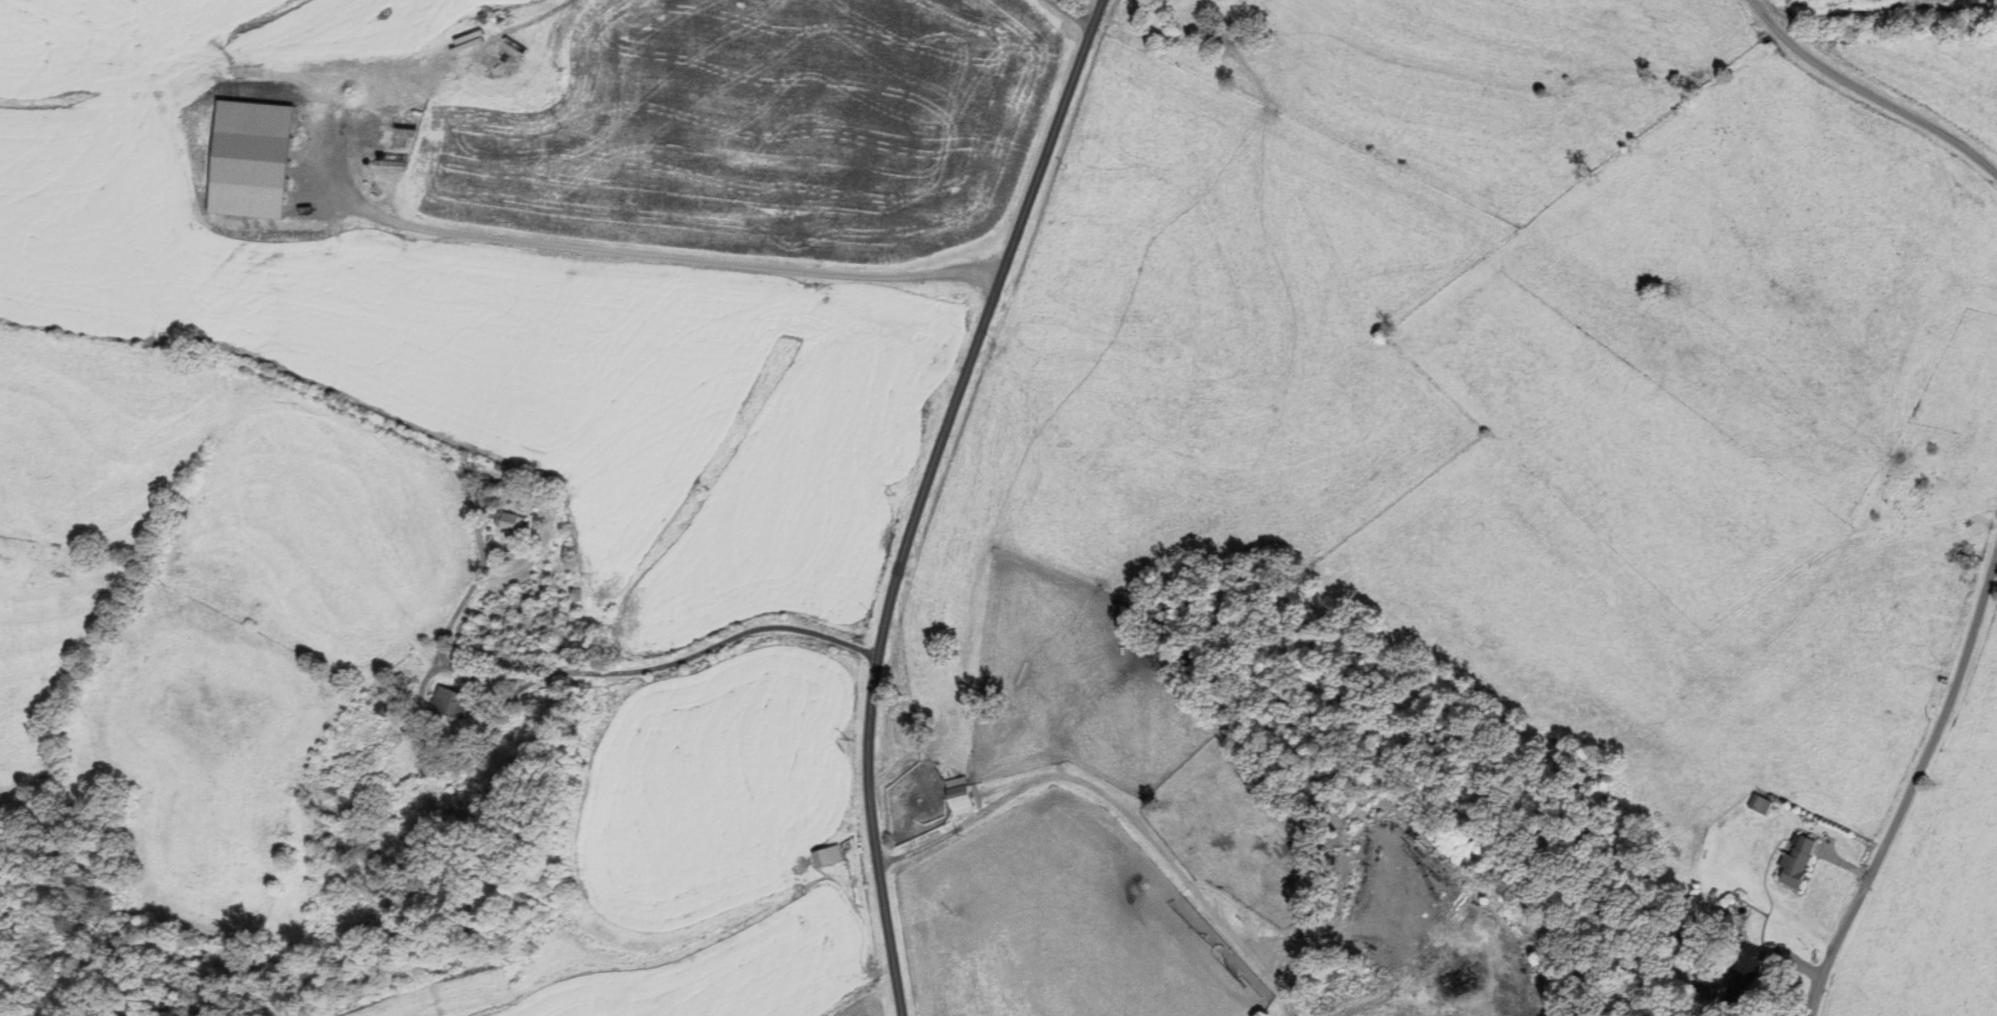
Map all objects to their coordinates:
building: (1192, 4)
road: (1075, 15)
building: (512, 54)
building: (409, 80)
road: (1868, 95)
road: (498, 239)
road: (911, 491)
building: (484, 494)
building: (509, 521)
road: (724, 640)
road: (446, 660)
building: (392, 697)
building: (451, 701)
building: (962, 796)
road: (1122, 799)
road: (1912, 803)
building: (354, 839)
building: (827, 857)
building: (1792, 861)
building: (1745, 973)

